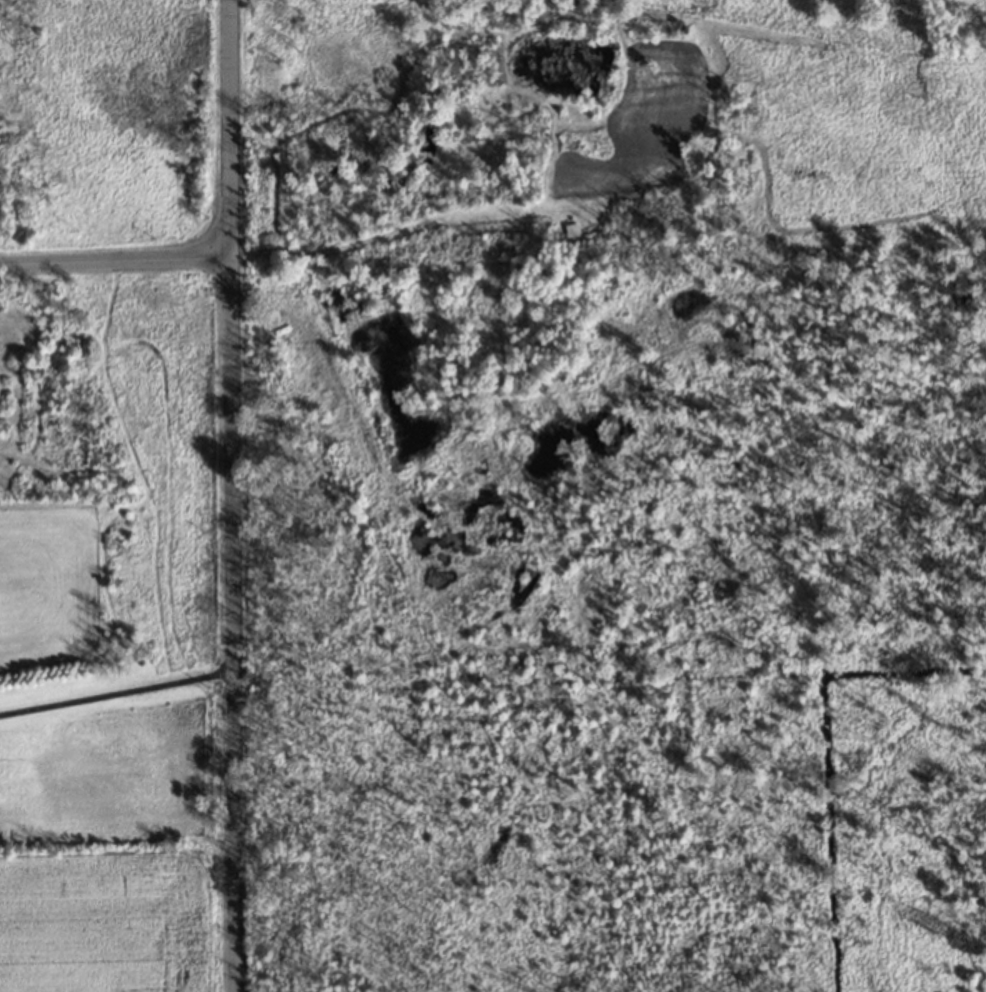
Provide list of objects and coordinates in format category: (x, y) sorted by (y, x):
road: (120, 251)
road: (239, 495)
road: (120, 690)

